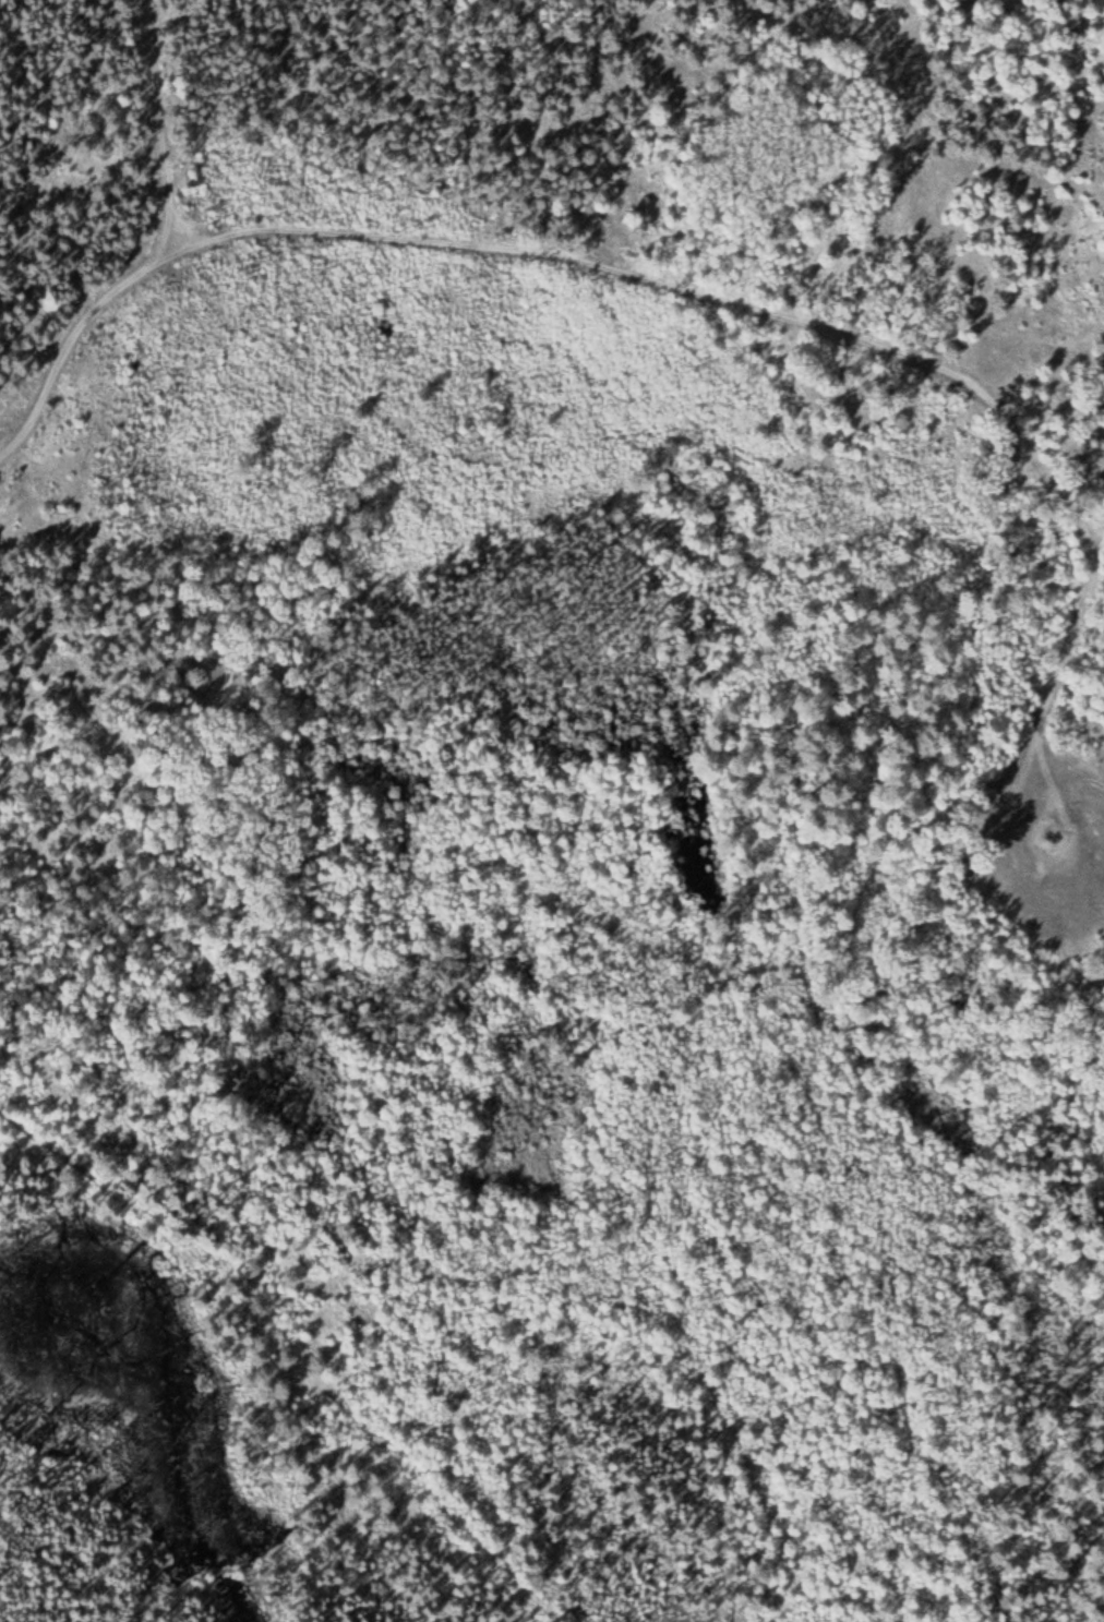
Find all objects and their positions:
road: (152, 124)
road: (803, 324)
road: (71, 335)
petroleum well: (1047, 837)

